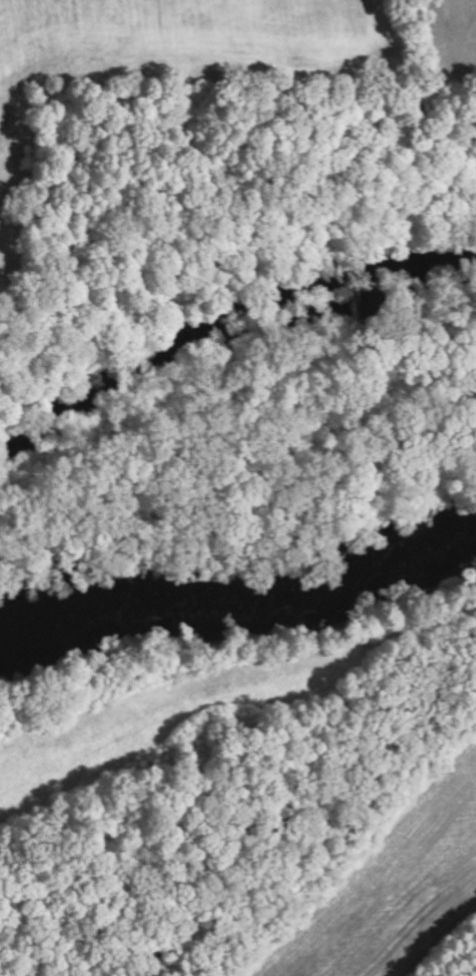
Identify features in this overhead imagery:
river: (239, 589)

